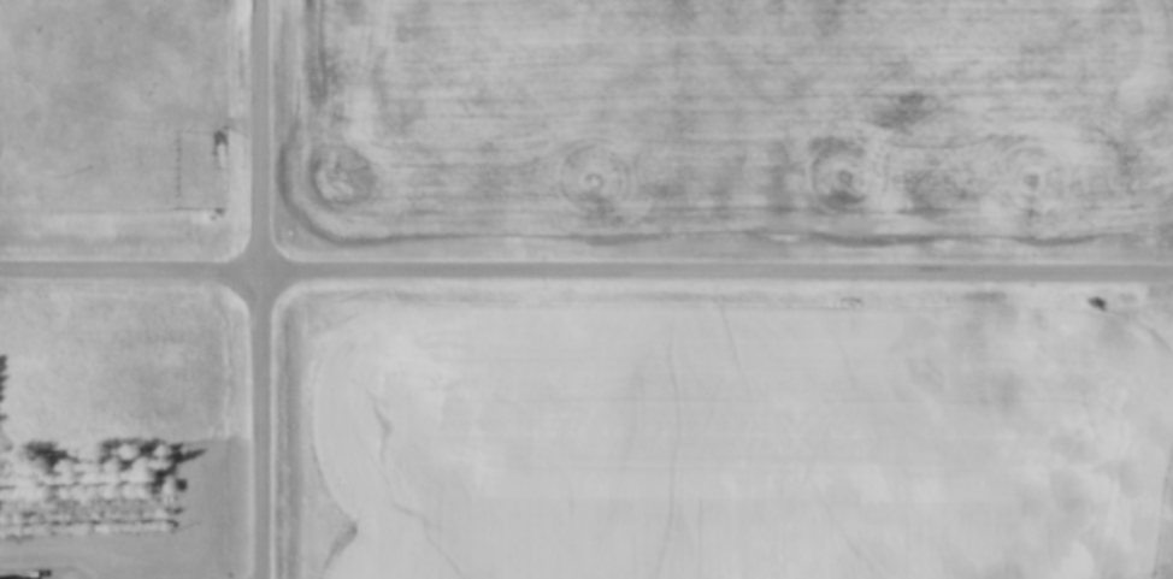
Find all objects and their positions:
road: (586, 262)
road: (266, 289)

